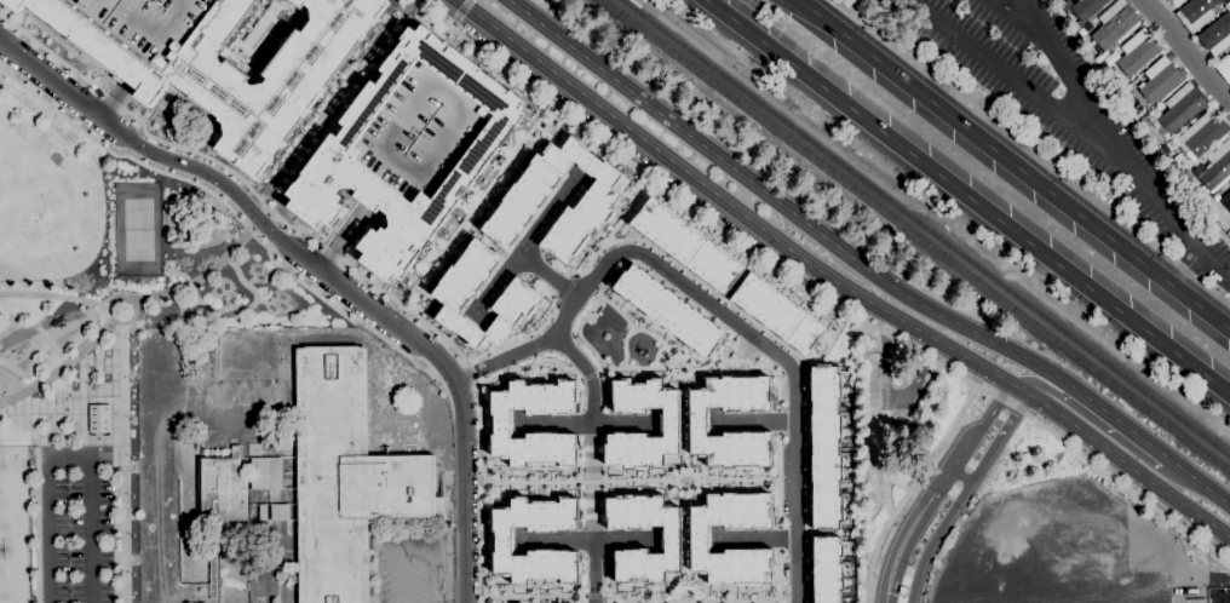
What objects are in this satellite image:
building: (1165, 2)
building: (1174, 2)
railway: (639, 6)
building: (1086, 8)
road: (458, 11)
road: (1010, 12)
building: (1195, 13)
parking lot: (150, 21)
road: (449, 24)
building: (1114, 25)
building: (1215, 34)
road: (1184, 52)
building: (1136, 53)
road: (789, 63)
building: (225, 67)
building: (1224, 67)
road: (132, 70)
road: (1022, 81)
building: (1161, 82)
road: (332, 98)
road: (108, 100)
parking lot: (1061, 104)
building: (1180, 107)
building: (419, 132)
parking lot: (419, 132)
building: (1201, 134)
road: (1119, 144)
road: (1031, 150)
building: (333, 155)
road: (1013, 165)
building: (1217, 166)
building: (1229, 182)
building: (522, 200)
building: (1226, 201)
road: (473, 203)
road: (226, 208)
road: (627, 208)
road: (361, 212)
road: (810, 226)
railway: (925, 229)
park: (136, 231)
railway: (916, 235)
road: (521, 242)
building: (685, 245)
road: (332, 253)
road: (328, 254)
road: (1052, 260)
road: (1213, 269)
road: (322, 270)
road: (546, 274)
road: (833, 282)
road: (564, 289)
road: (811, 294)
building: (519, 298)
road: (142, 303)
road: (228, 309)
road: (715, 309)
building: (667, 310)
building: (777, 314)
road: (625, 320)
park: (96, 332)
road: (660, 340)
road: (516, 341)
road: (828, 341)
road: (783, 346)
road: (741, 360)
road: (529, 364)
road: (638, 366)
road: (585, 372)
road: (587, 375)
road: (123, 378)
road: (883, 378)
road: (1068, 407)
building: (96, 418)
road: (751, 420)
road: (776, 420)
building: (696, 421)
building: (669, 423)
building: (499, 426)
road: (683, 427)
road: (44, 440)
road: (1146, 446)
building: (824, 449)
road: (68, 459)
building: (265, 473)
road: (959, 473)
building: (345, 477)
road: (776, 478)
road: (883, 478)
road: (729, 479)
road: (584, 481)
road: (1196, 483)
road: (903, 487)
road: (933, 487)
building: (223, 488)
road: (908, 489)
road: (960, 494)
building: (280, 511)
building: (261, 512)
parking lot: (76, 524)
road: (684, 532)
park: (10, 533)
road: (752, 538)
road: (777, 538)
road: (587, 539)
building: (668, 539)
building: (697, 539)
building: (501, 540)
building: (826, 569)
road: (592, 570)
road: (778, 574)
road: (684, 591)
toll booth: (885, 592)
road: (611, 595)
road: (533, 596)
road: (592, 596)
road: (582, 599)
road: (691, 602)

